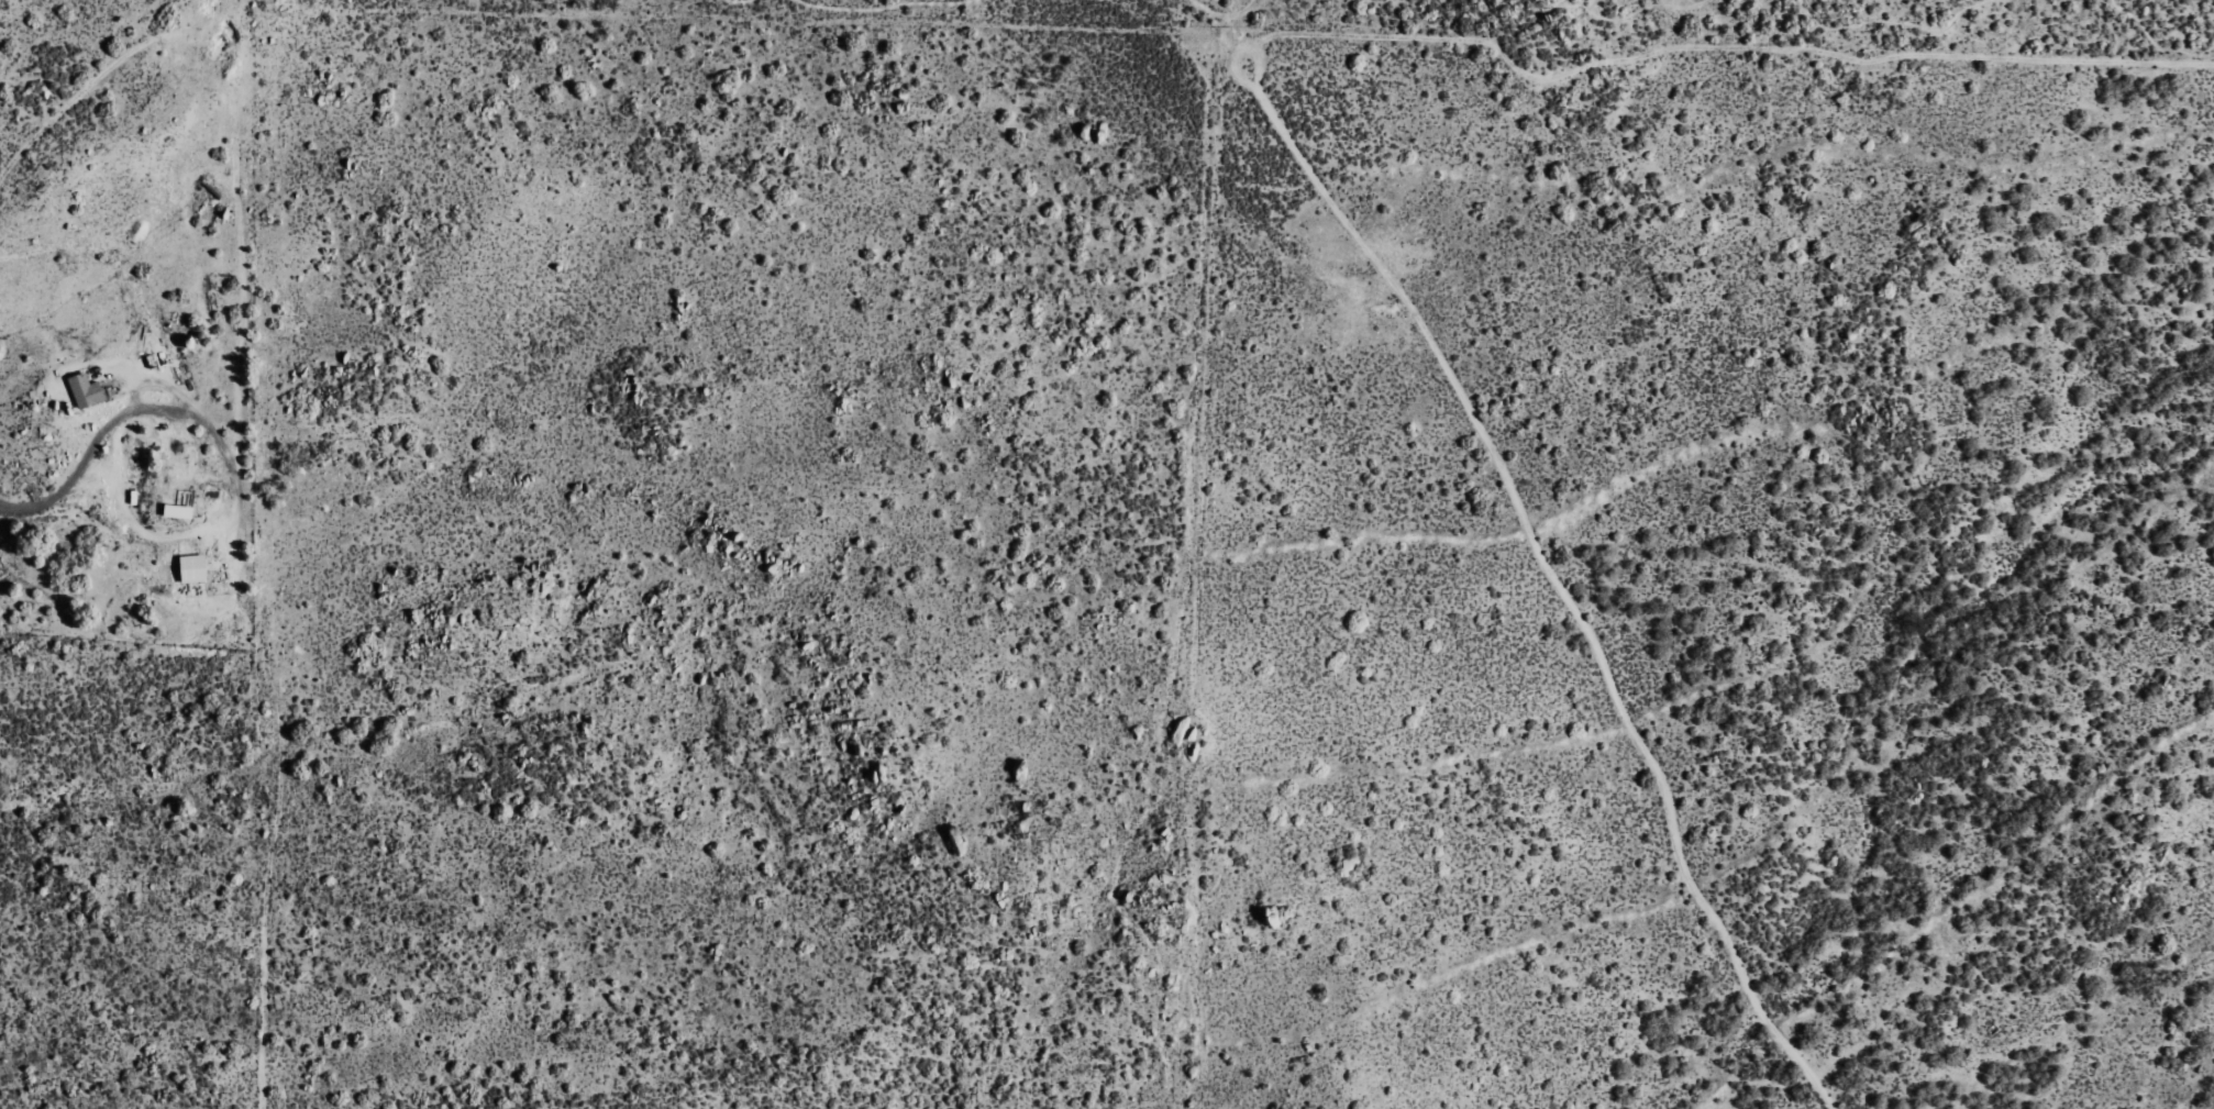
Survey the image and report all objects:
building: (82, 390)

